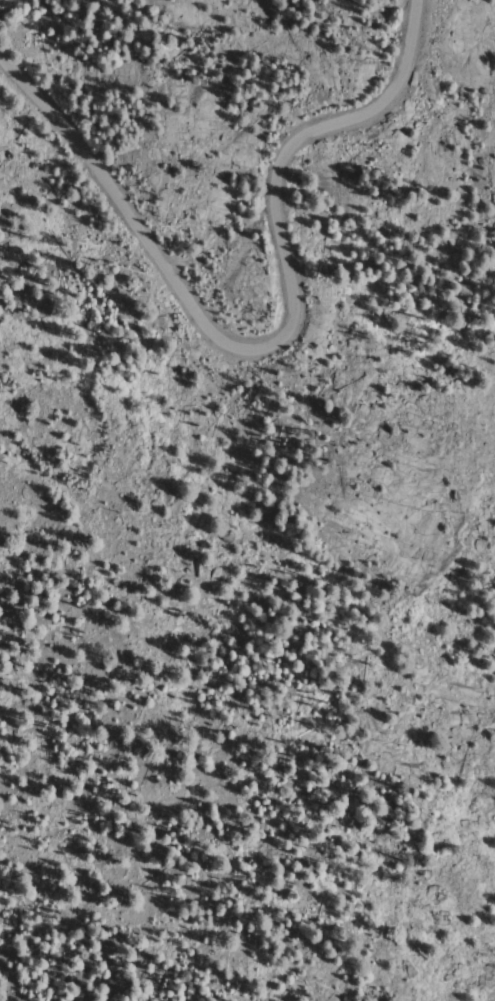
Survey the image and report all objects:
road: (275, 339)

